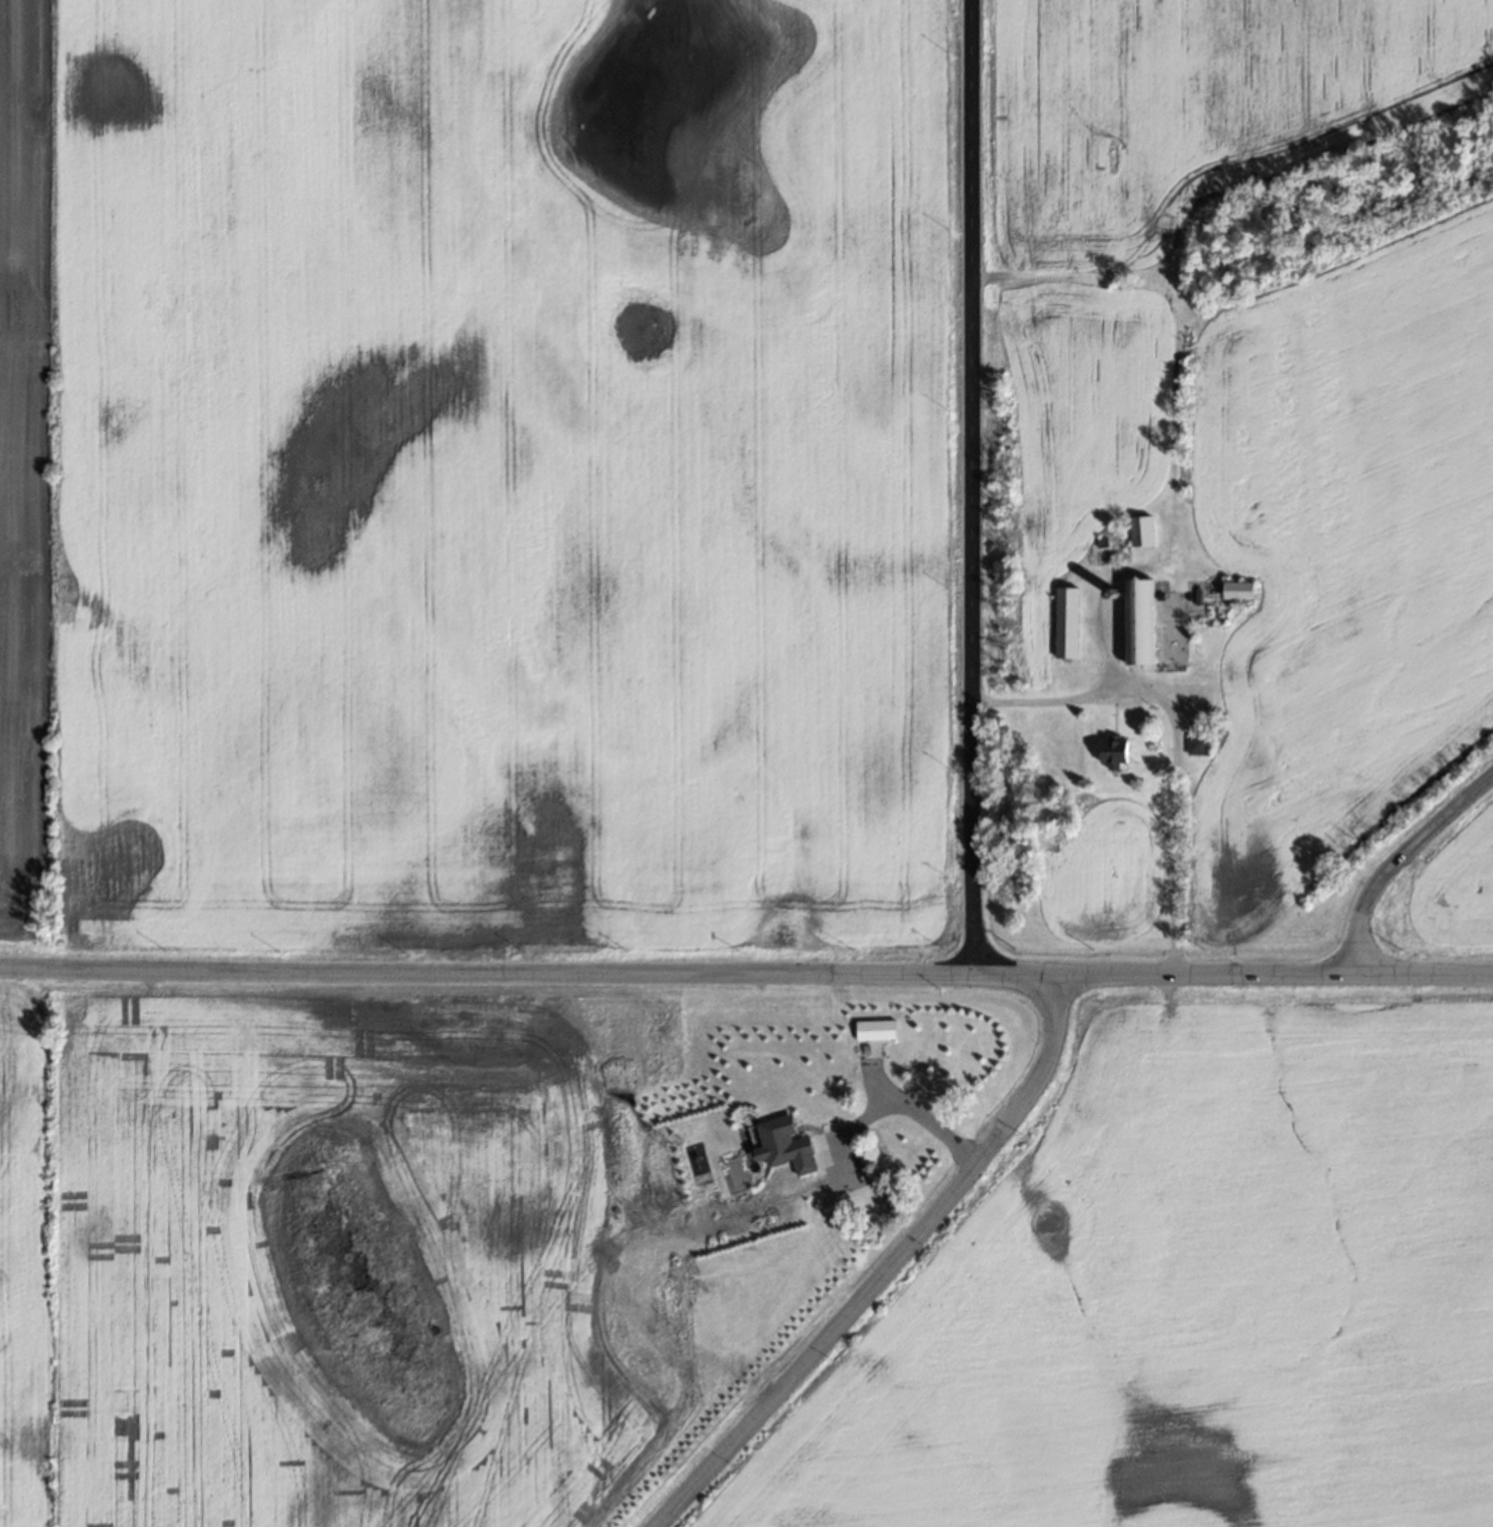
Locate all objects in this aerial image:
road: (968, 484)
building: (1240, 589)
road: (1174, 735)
building: (1198, 743)
building: (1115, 752)
road: (1397, 862)
road: (746, 970)
building: (876, 1029)
road: (912, 1111)
building: (786, 1145)
crop: (24, 1250)
road: (892, 1271)

